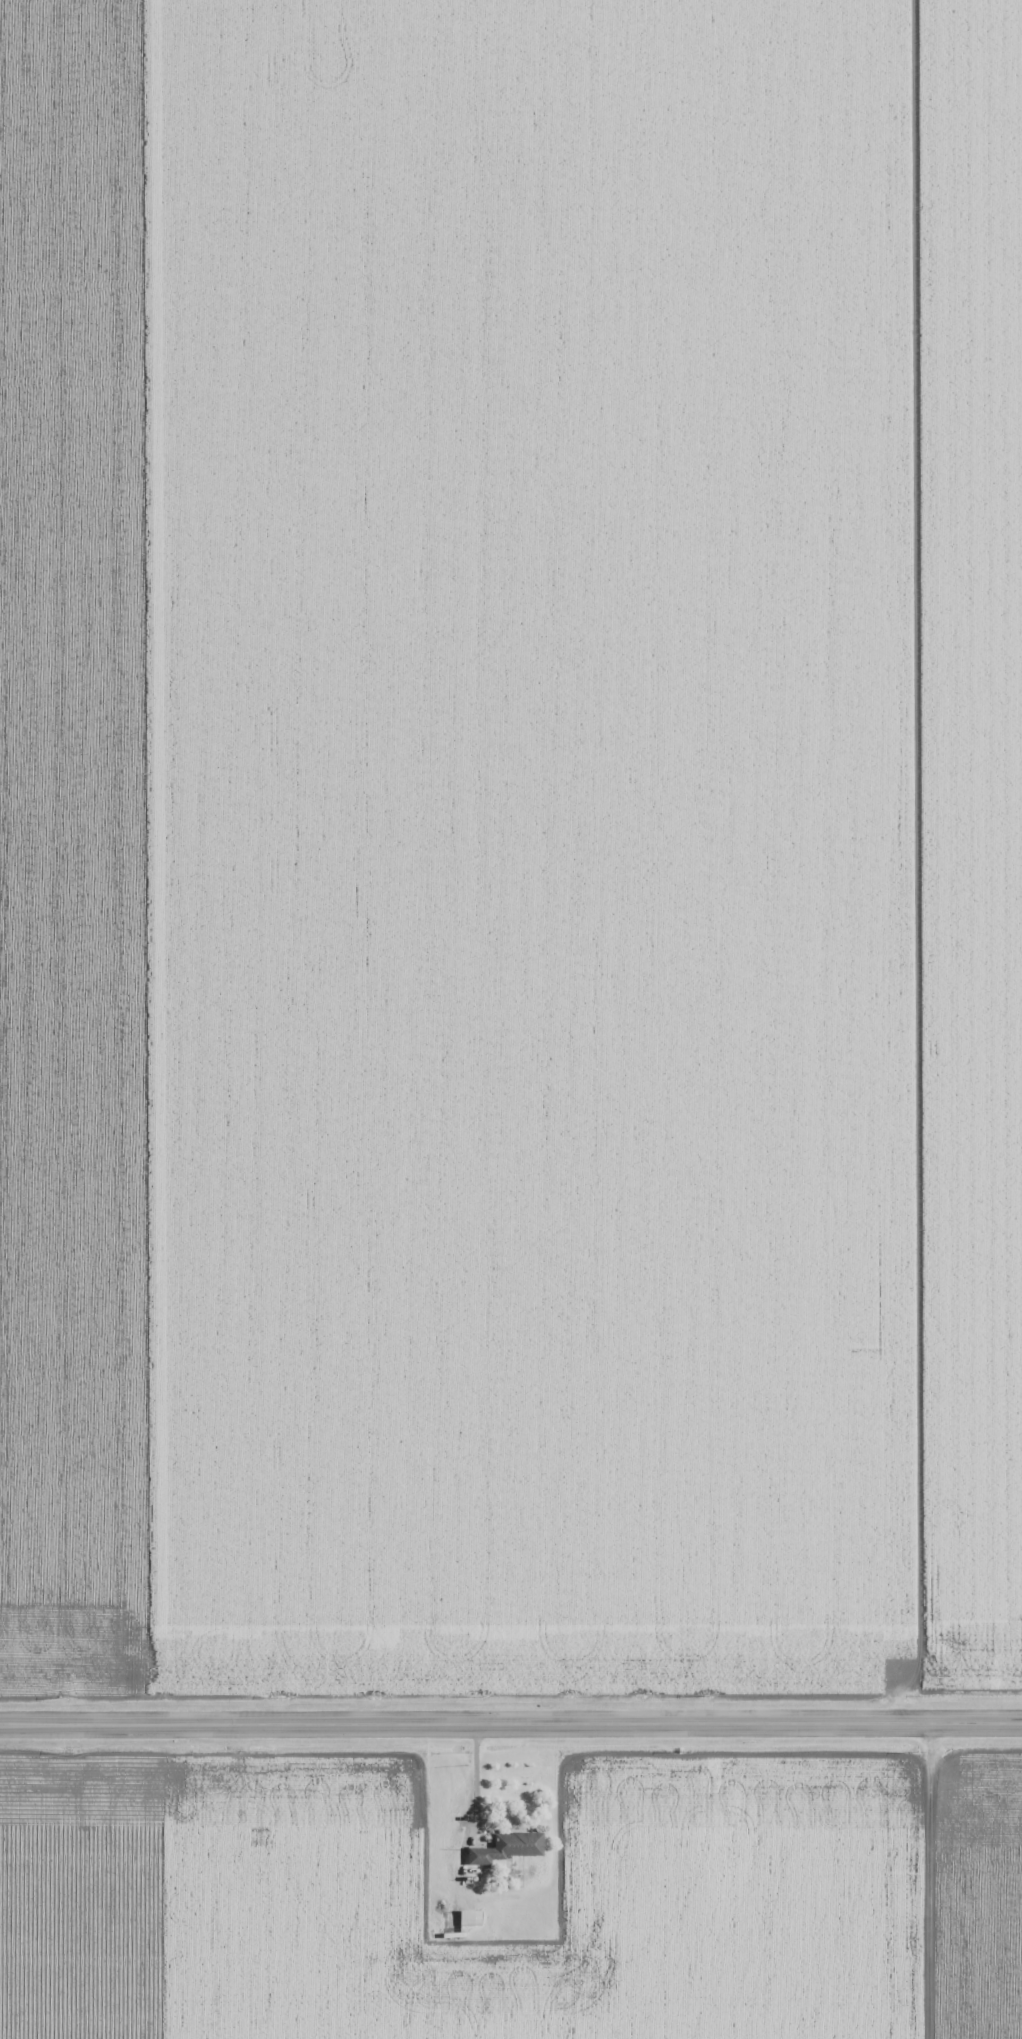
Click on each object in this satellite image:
road: (511, 1724)
road: (480, 1773)
building: (506, 1848)
road: (929, 1881)
building: (469, 1918)

